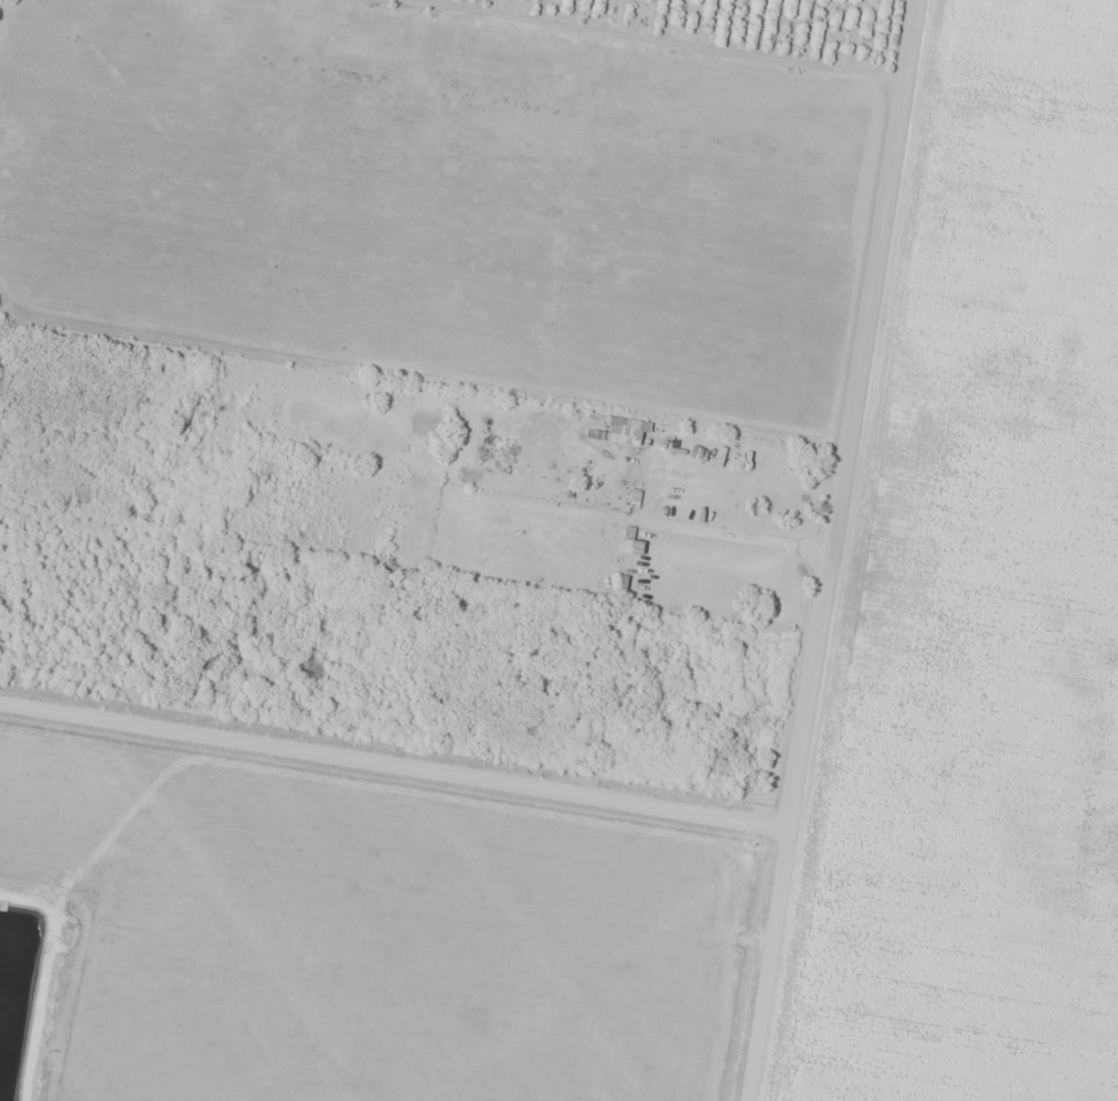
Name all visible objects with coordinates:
road: (853, 415)
building: (626, 431)
building: (636, 501)
building: (633, 543)
road: (394, 770)
road: (767, 965)

